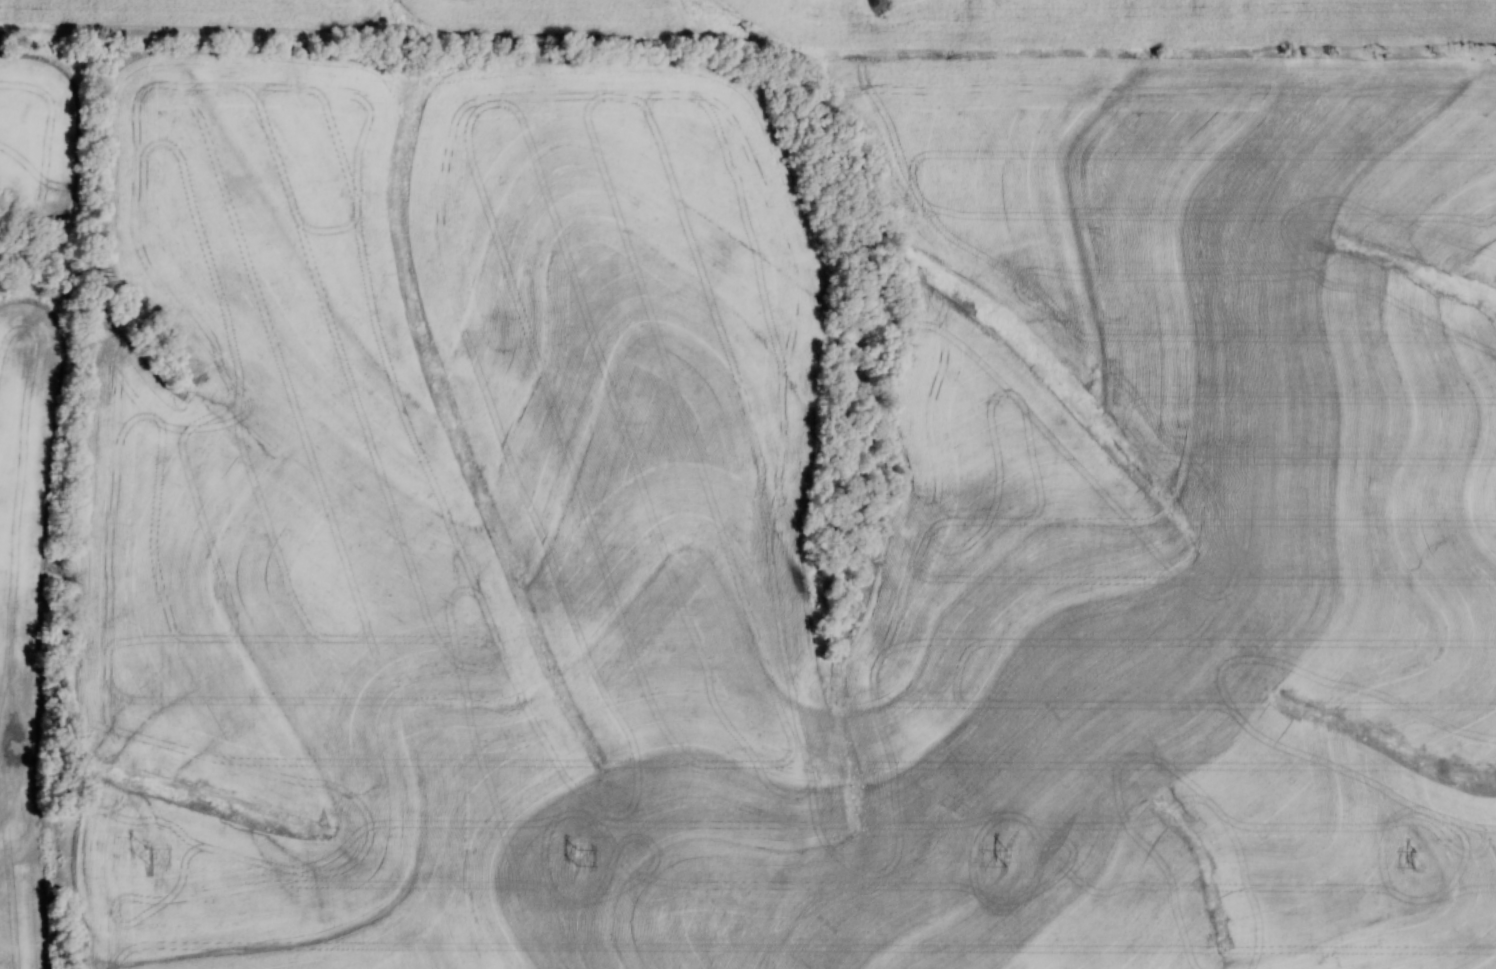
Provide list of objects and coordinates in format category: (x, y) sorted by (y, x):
power tower: (146, 855)
power tower: (576, 857)
power tower: (1006, 857)
power tower: (1416, 859)

